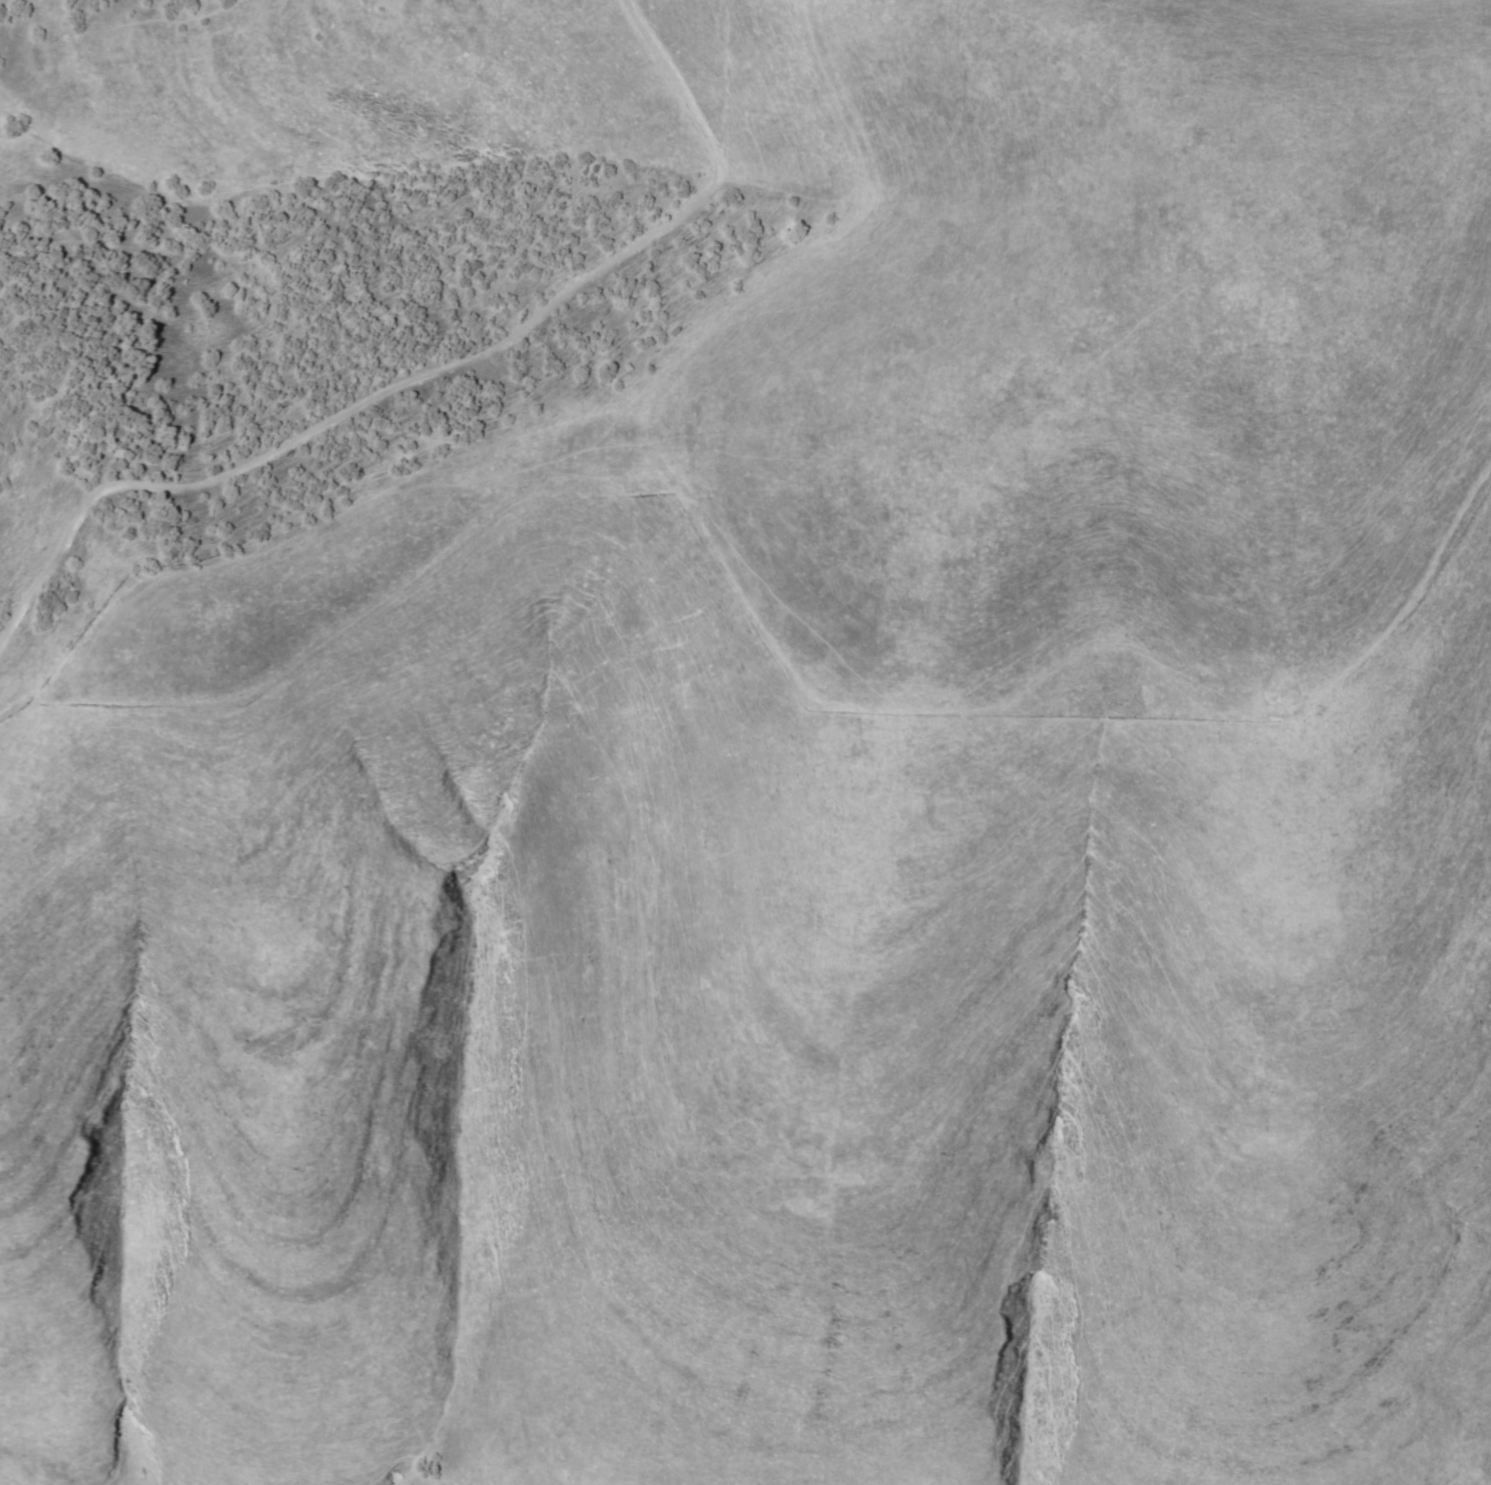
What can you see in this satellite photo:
road: (1418, 1)
road: (873, 231)

